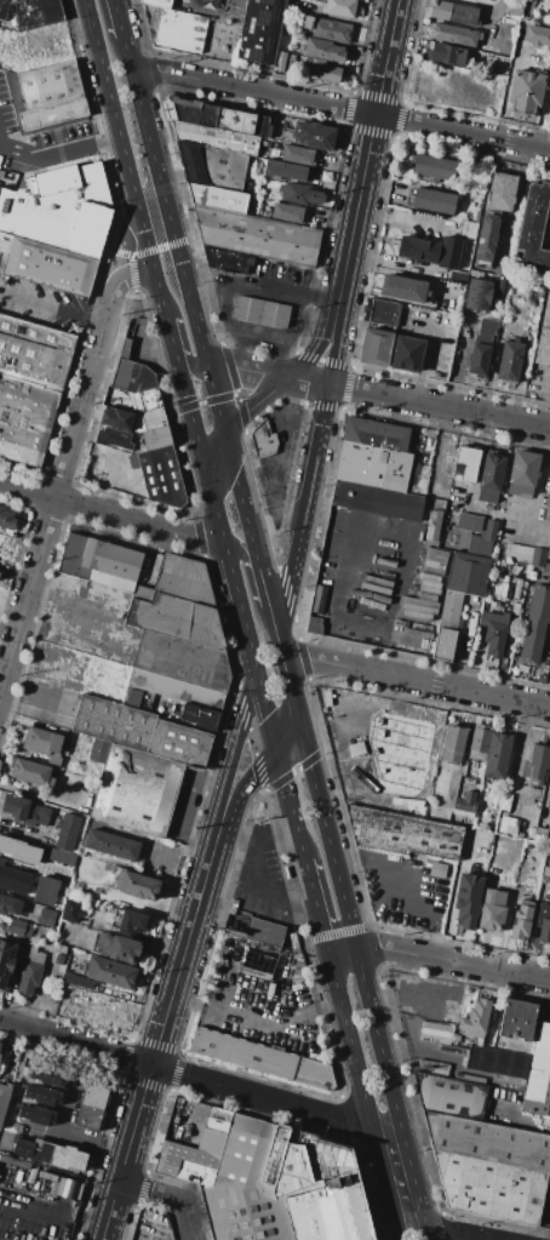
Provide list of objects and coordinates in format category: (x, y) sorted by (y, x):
building: (494, 0)
building: (157, 4)
building: (294, 5)
building: (340, 7)
building: (514, 8)
building: (33, 12)
building: (453, 12)
building: (546, 16)
road: (118, 18)
building: (326, 29)
building: (181, 30)
building: (259, 30)
building: (454, 34)
building: (537, 39)
building: (323, 50)
building: (446, 53)
building: (283, 63)
building: (323, 72)
building: (50, 86)
building: (526, 90)
road: (339, 107)
road: (543, 112)
building: (52, 114)
building: (210, 115)
building: (262, 127)
parking lot: (38, 135)
building: (314, 135)
building: (214, 137)
road: (58, 139)
building: (264, 143)
building: (297, 154)
road: (153, 155)
road: (367, 155)
road: (126, 159)
building: (258, 164)
building: (212, 166)
building: (434, 167)
building: (283, 170)
building: (502, 192)
building: (299, 195)
building: (218, 198)
building: (434, 201)
building: (57, 205)
building: (287, 213)
building: (532, 230)
building: (259, 235)
building: (486, 241)
building: (5, 242)
building: (463, 246)
road: (148, 250)
road: (445, 250)
building: (417, 251)
building: (233, 262)
building: (48, 267)
building: (500, 272)
road: (131, 273)
building: (499, 285)
road: (260, 286)
building: (402, 288)
building: (477, 295)
road: (51, 305)
road: (224, 310)
building: (260, 312)
building: (382, 312)
road: (194, 319)
road: (170, 331)
building: (544, 336)
road: (288, 341)
road: (316, 345)
building: (376, 345)
road: (155, 347)
road: (332, 348)
building: (481, 348)
building: (34, 350)
road: (174, 350)
road: (237, 350)
building: (407, 353)
road: (277, 358)
building: (510, 360)
road: (191, 361)
road: (220, 365)
road: (254, 371)
building: (132, 377)
road: (283, 377)
road: (542, 398)
road: (214, 399)
building: (145, 400)
building: (113, 401)
road: (201, 402)
road: (420, 402)
road: (256, 405)
building: (25, 417)
road: (287, 417)
building: (115, 419)
building: (149, 419)
road: (191, 421)
road: (316, 434)
building: (376, 434)
traffic signals: (223, 435)
building: (114, 438)
building: (156, 438)
building: (264, 440)
building: (142, 450)
road: (228, 452)
building: (114, 457)
road: (213, 458)
parking lot: (280, 461)
road: (257, 463)
building: (466, 463)
road: (63, 465)
building: (373, 465)
building: (523, 473)
building: (160, 475)
building: (491, 478)
building: (417, 479)
road: (277, 480)
traffic signals: (208, 484)
road: (539, 485)
building: (377, 501)
road: (273, 504)
building: (548, 507)
road: (244, 512)
road: (111, 514)
road: (216, 514)
building: (6, 519)
building: (431, 525)
building: (477, 532)
road: (239, 550)
building: (549, 552)
building: (519, 553)
building: (538, 556)
road: (292, 558)
building: (101, 562)
building: (546, 566)
building: (466, 573)
building: (184, 579)
road: (262, 581)
building: (516, 596)
building: (319, 599)
road: (240, 608)
building: (451, 610)
road: (271, 618)
building: (177, 619)
building: (472, 621)
building: (535, 623)
building: (314, 625)
building: (494, 632)
building: (443, 644)
building: (183, 661)
road: (285, 669)
road: (416, 680)
building: (177, 690)
traffic signals: (294, 708)
road: (267, 710)
building: (195, 715)
building: (114, 722)
road: (285, 727)
road: (239, 738)
building: (479, 742)
building: (178, 743)
building: (452, 744)
building: (44, 745)
traffic signals: (276, 748)
building: (98, 750)
building: (497, 755)
building: (537, 765)
building: (28, 770)
road: (515, 772)
road: (250, 775)
building: (442, 779)
building: (136, 790)
road: (290, 804)
building: (465, 805)
road: (183, 807)
building: (24, 811)
building: (549, 812)
building: (441, 813)
building: (508, 825)
road: (23, 832)
building: (67, 832)
building: (403, 833)
road: (257, 836)
building: (110, 844)
building: (19, 850)
road: (185, 852)
building: (61, 857)
road: (430, 868)
parking lot: (262, 878)
building: (15, 880)
road: (267, 884)
building: (136, 885)
parking lot: (408, 887)
building: (44, 890)
building: (468, 899)
road: (293, 901)
road: (388, 902)
building: (10, 905)
road: (316, 908)
building: (493, 909)
building: (70, 910)
building: (46, 918)
building: (544, 919)
building: (125, 920)
road: (348, 920)
building: (521, 920)
building: (19, 928)
building: (264, 931)
building: (48, 935)
road: (189, 935)
building: (59, 948)
building: (118, 948)
road: (343, 954)
building: (59, 959)
road: (453, 962)
building: (5, 964)
building: (298, 964)
building: (256, 967)
building: (31, 970)
building: (111, 972)
road: (224, 978)
building: (78, 981)
road: (286, 990)
parking lot: (426, 993)
road: (439, 1001)
parking lot: (262, 1002)
building: (493, 1012)
building: (475, 1018)
road: (259, 1019)
building: (517, 1019)
building: (435, 1032)
building: (492, 1033)
building: (456, 1038)
building: (0, 1045)
road: (351, 1048)
building: (452, 1050)
building: (262, 1058)
building: (499, 1062)
building: (434, 1065)
building: (538, 1075)
building: (48, 1076)
road: (193, 1078)
building: (42, 1096)
building: (452, 1096)
road: (68, 1099)
building: (4, 1101)
building: (91, 1105)
building: (38, 1115)
building: (177, 1121)
building: (17, 1127)
building: (214, 1130)
building: (487, 1141)
road: (91, 1142)
building: (21, 1147)
road: (124, 1153)
building: (61, 1156)
building: (15, 1161)
building: (187, 1161)
building: (47, 1176)
road: (399, 1178)
building: (315, 1185)
building: (491, 1187)
building: (65, 1188)
building: (244, 1188)
road: (151, 1190)
road: (189, 1222)
road: (452, 1230)
road: (408, 1232)
road: (417, 1232)
road: (181, 1233)
building: (58, 1234)
building: (64, 1238)

